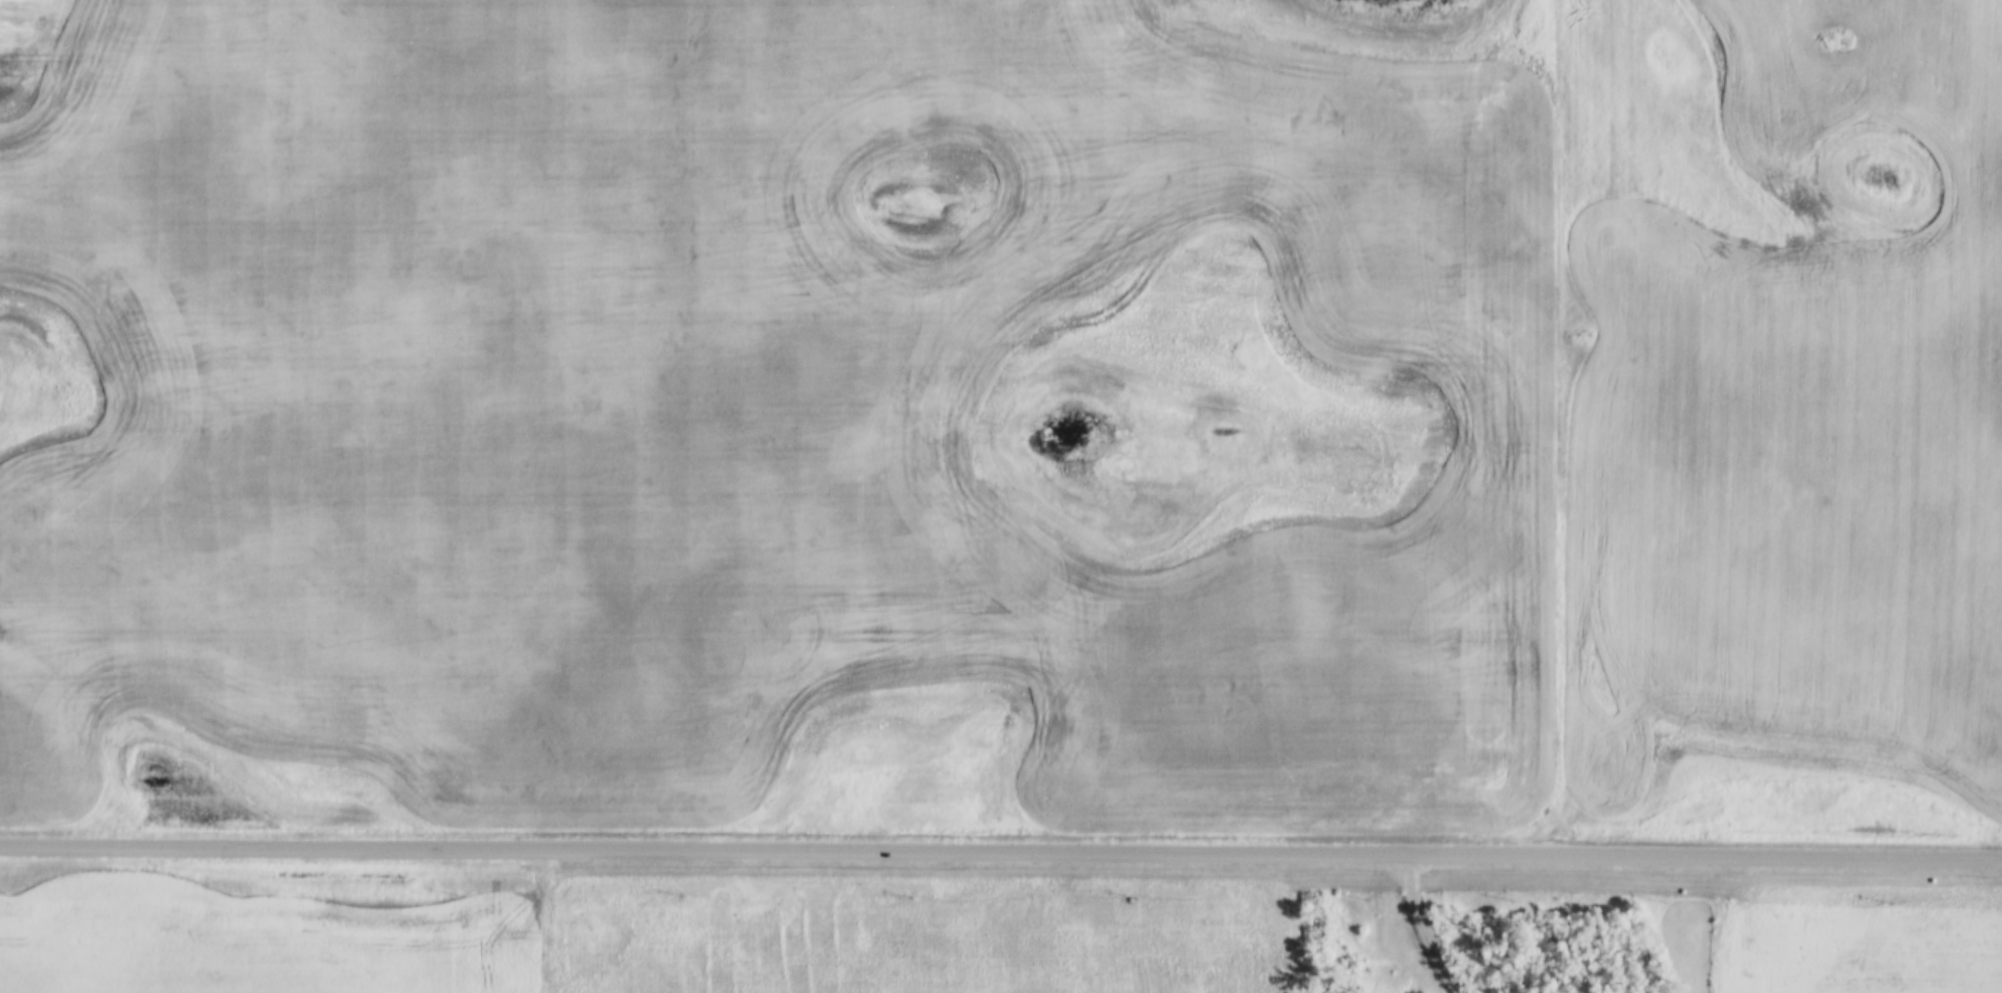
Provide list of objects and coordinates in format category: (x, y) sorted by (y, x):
road: (1001, 848)

